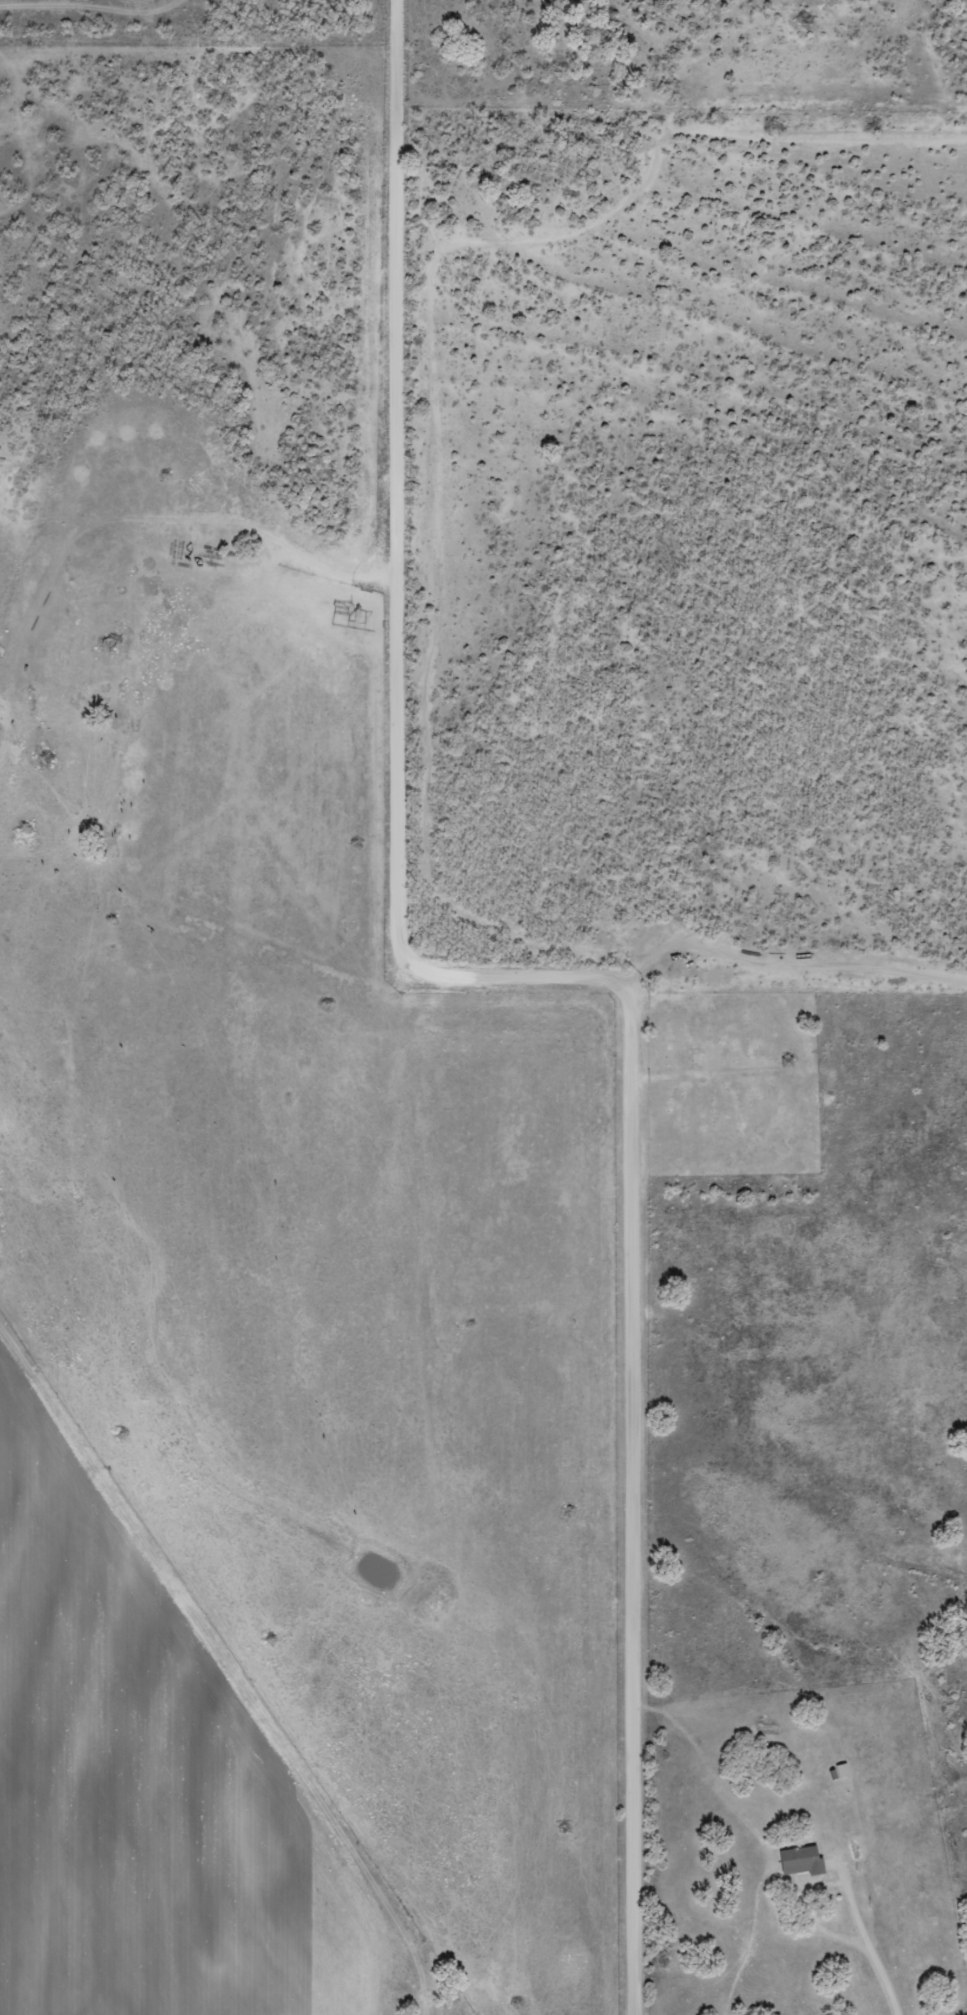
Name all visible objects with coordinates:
road: (425, 564)
park: (733, 1083)
road: (631, 1501)
building: (799, 1853)
road: (870, 1943)

